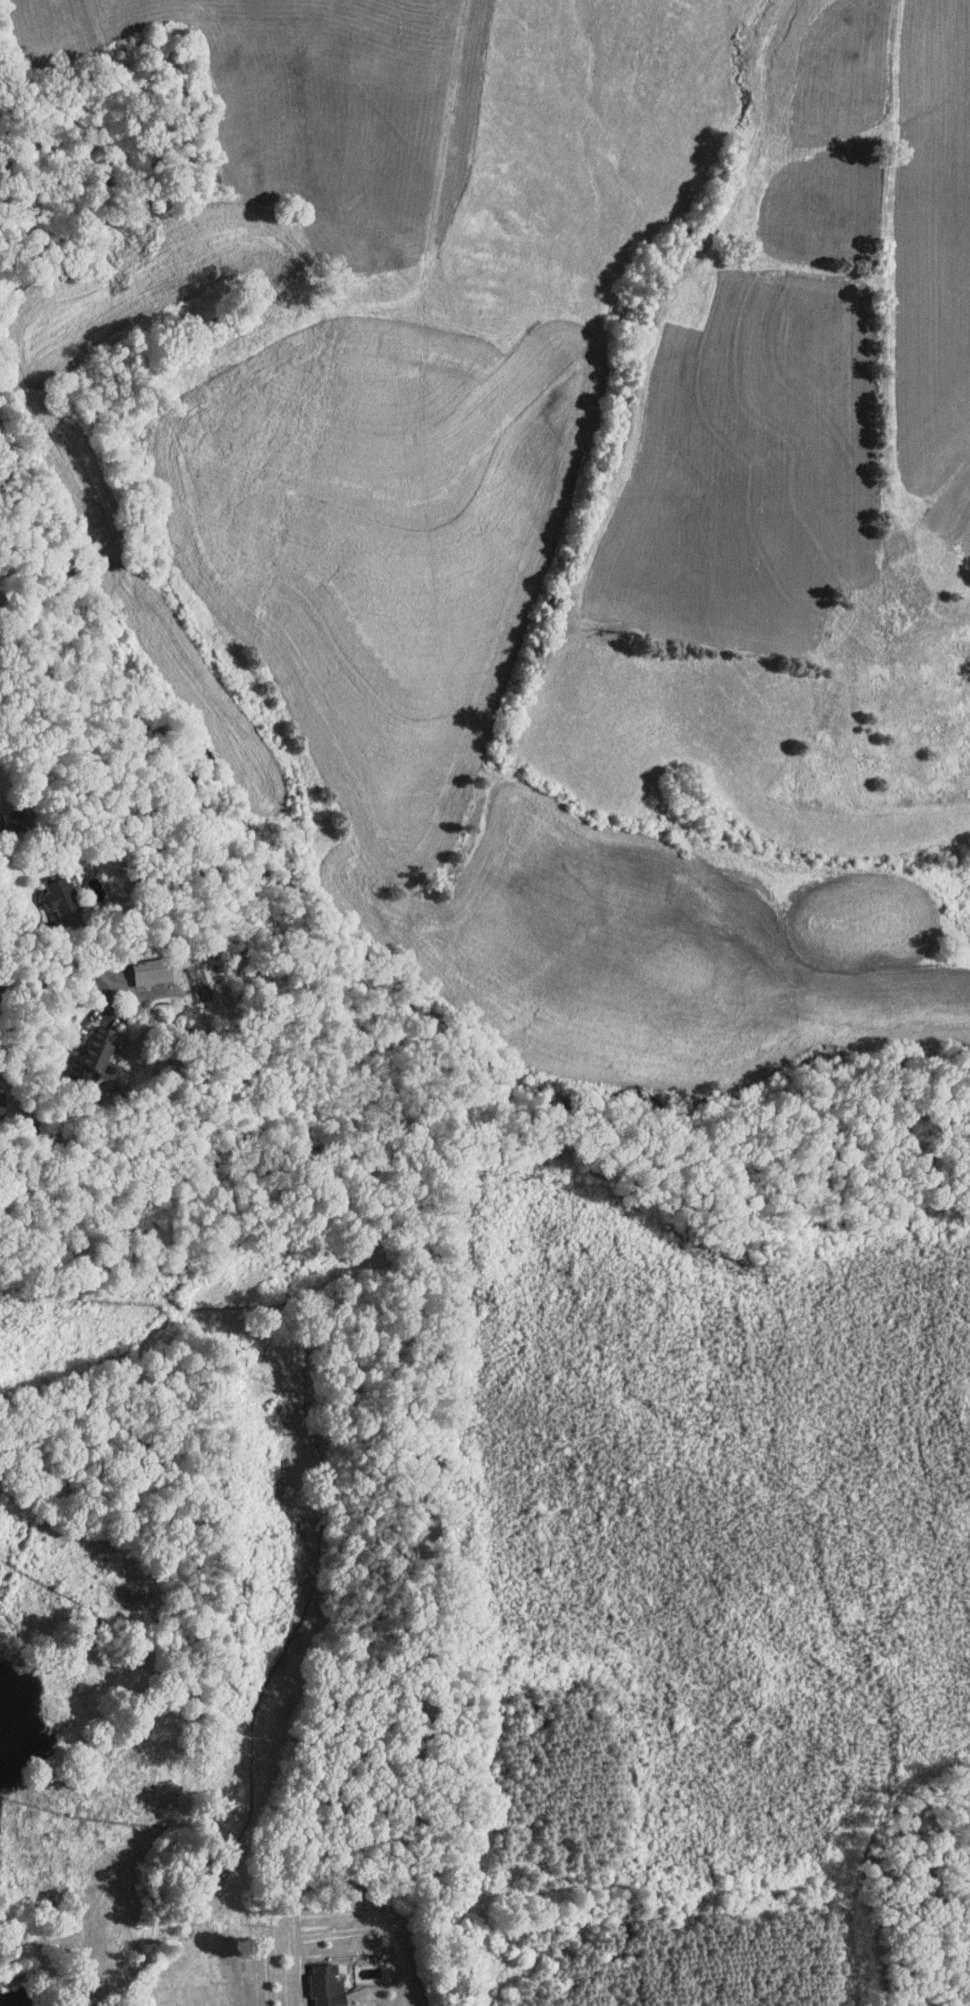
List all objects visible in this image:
building: (54, 889)
building: (145, 965)
road: (67, 972)
building: (93, 1042)
road: (12, 1089)
building: (326, 1984)

